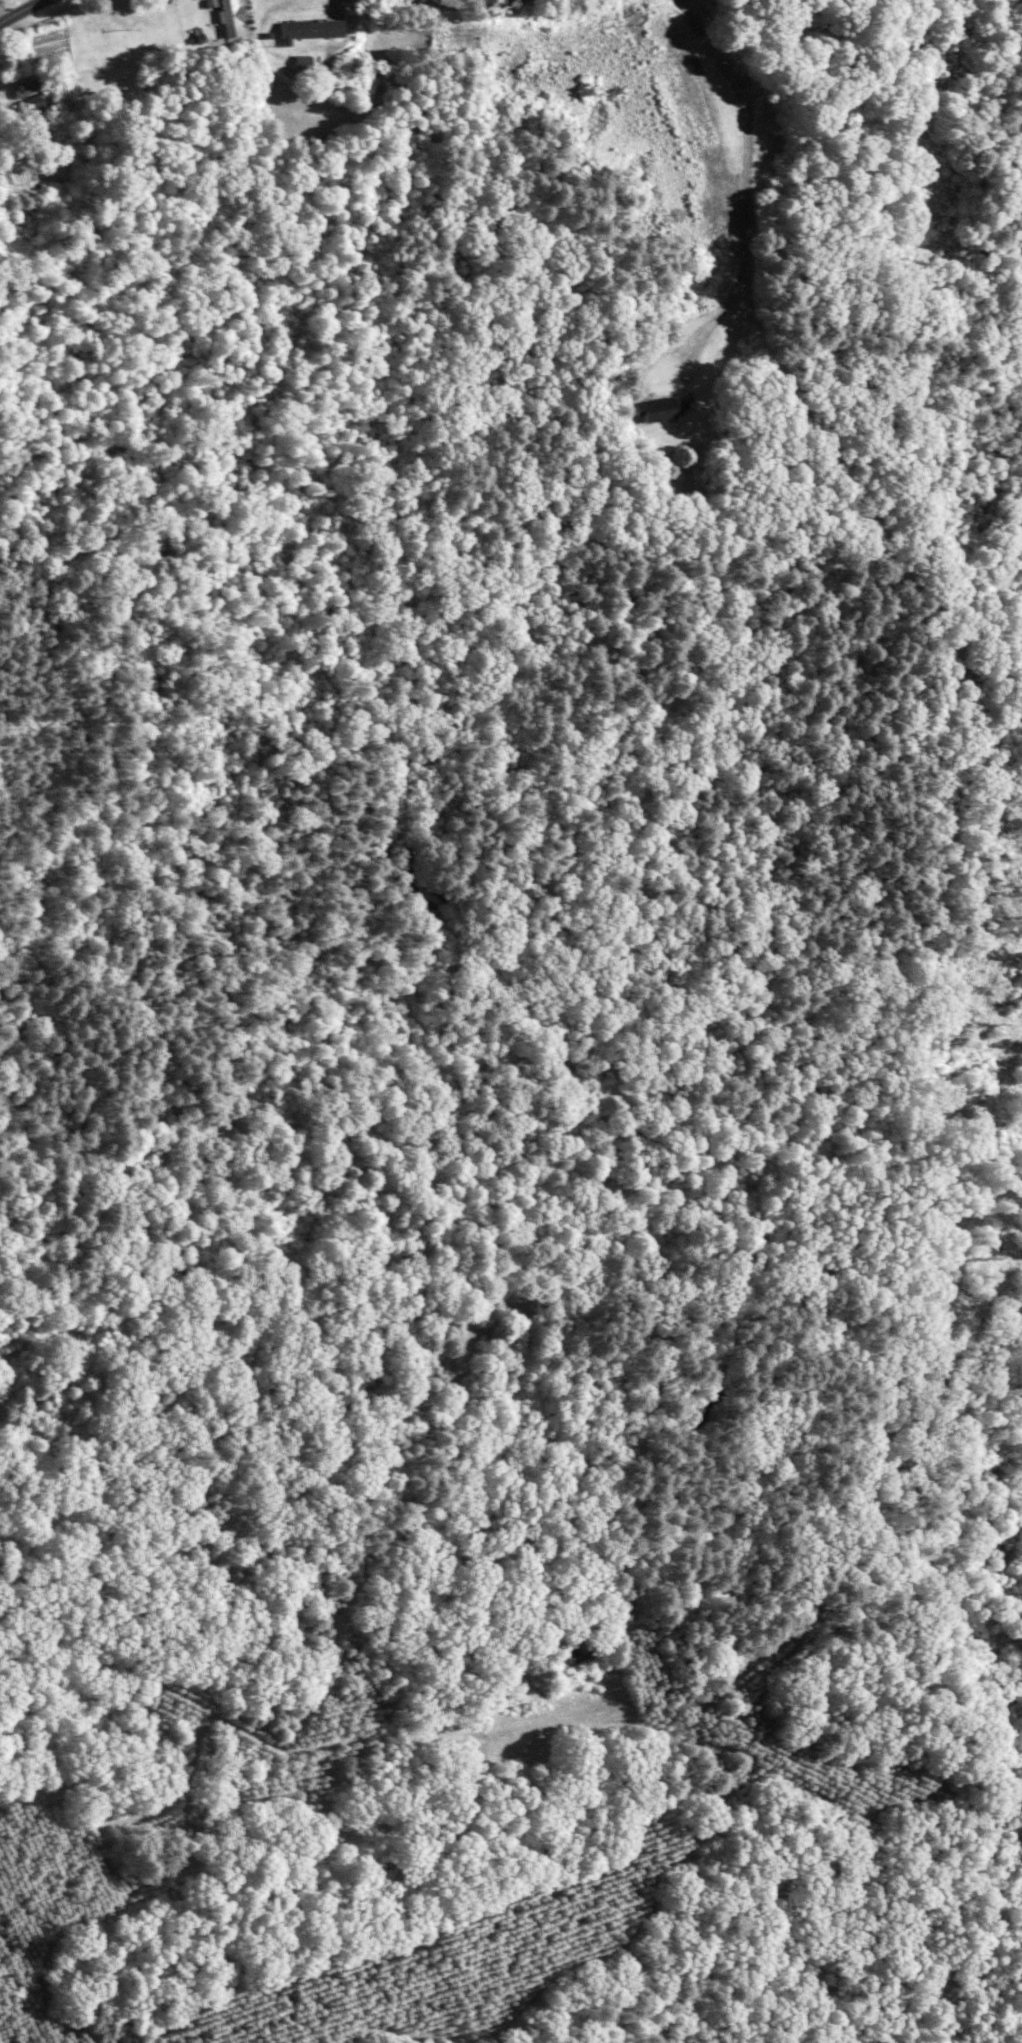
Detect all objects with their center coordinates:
road: (24, 11)
building: (308, 30)
building: (298, 63)
building: (29, 87)
building: (31, 109)
road: (746, 183)
building: (655, 410)

